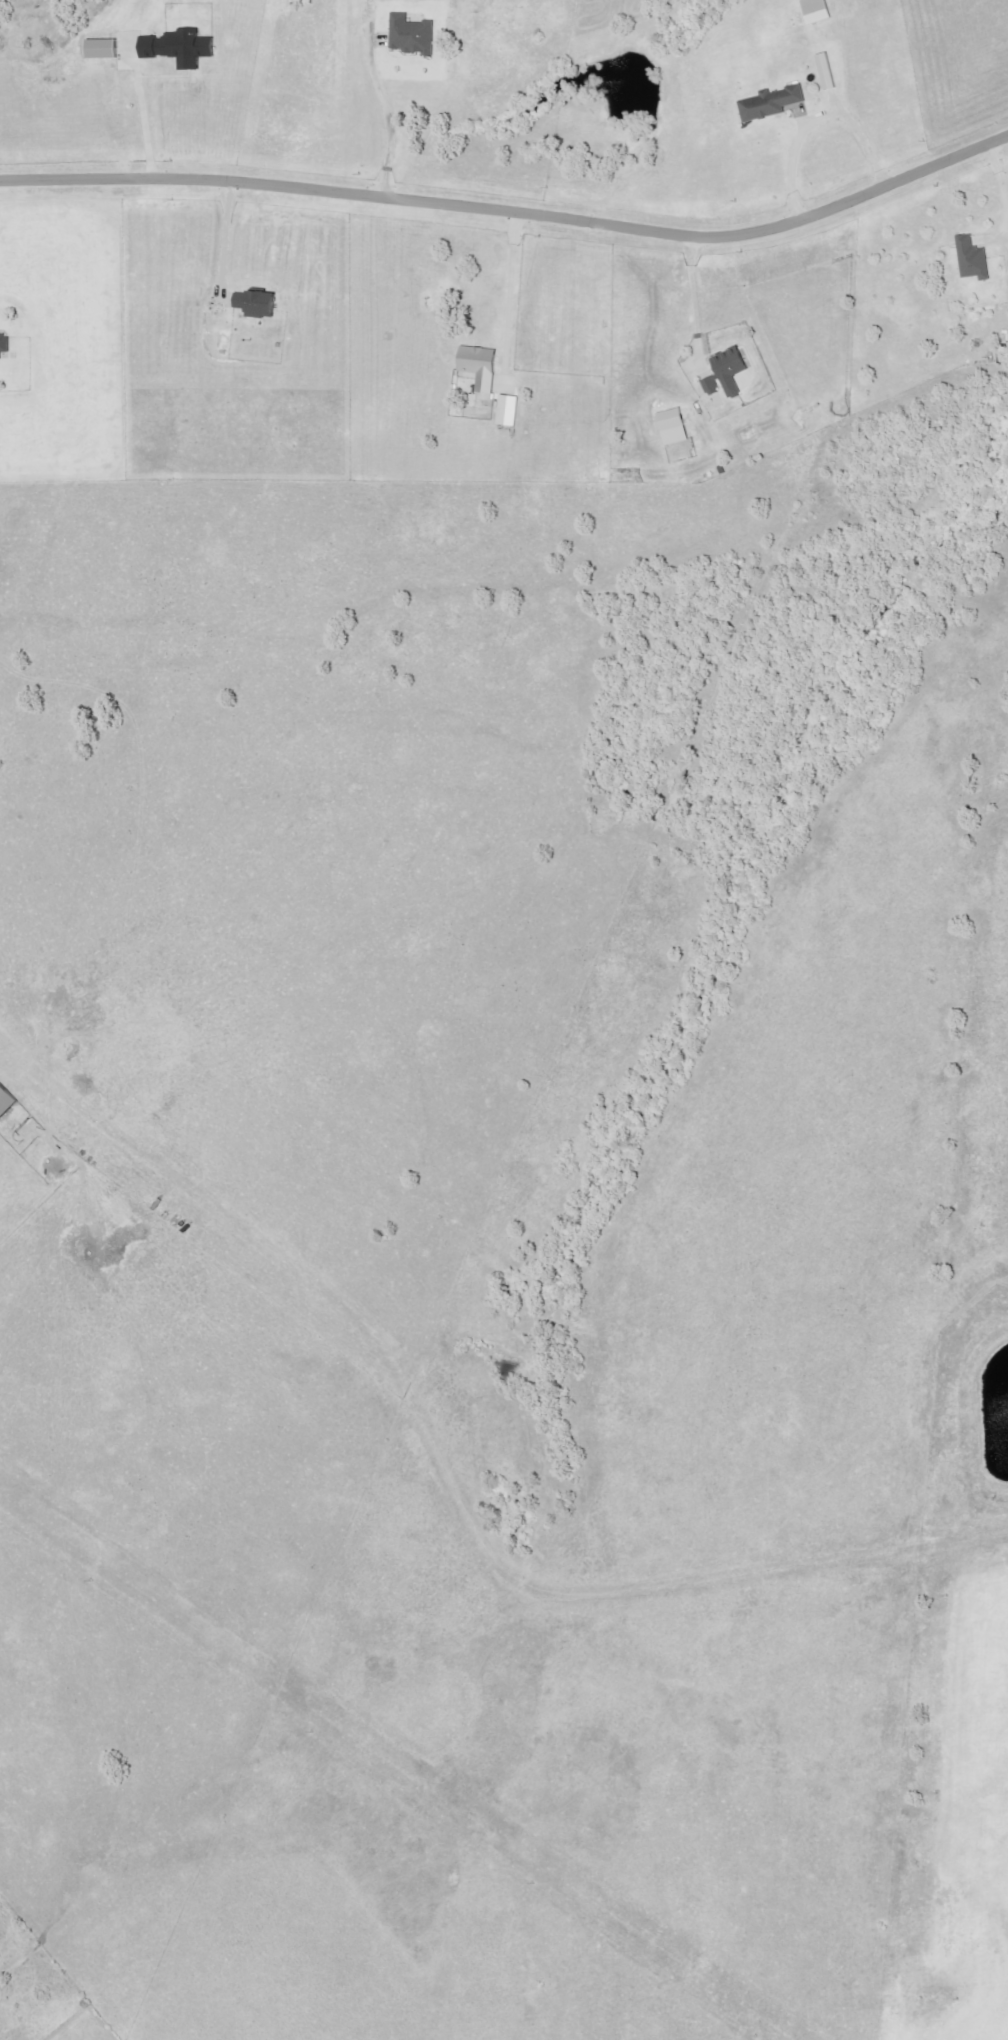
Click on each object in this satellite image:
building: (820, 11)
building: (414, 35)
building: (183, 47)
building: (105, 49)
building: (830, 71)
building: (773, 103)
road: (513, 213)
building: (975, 259)
building: (261, 303)
building: (5, 344)
building: (483, 367)
building: (733, 370)
building: (713, 386)
building: (511, 411)
building: (677, 426)
building: (7, 1101)

